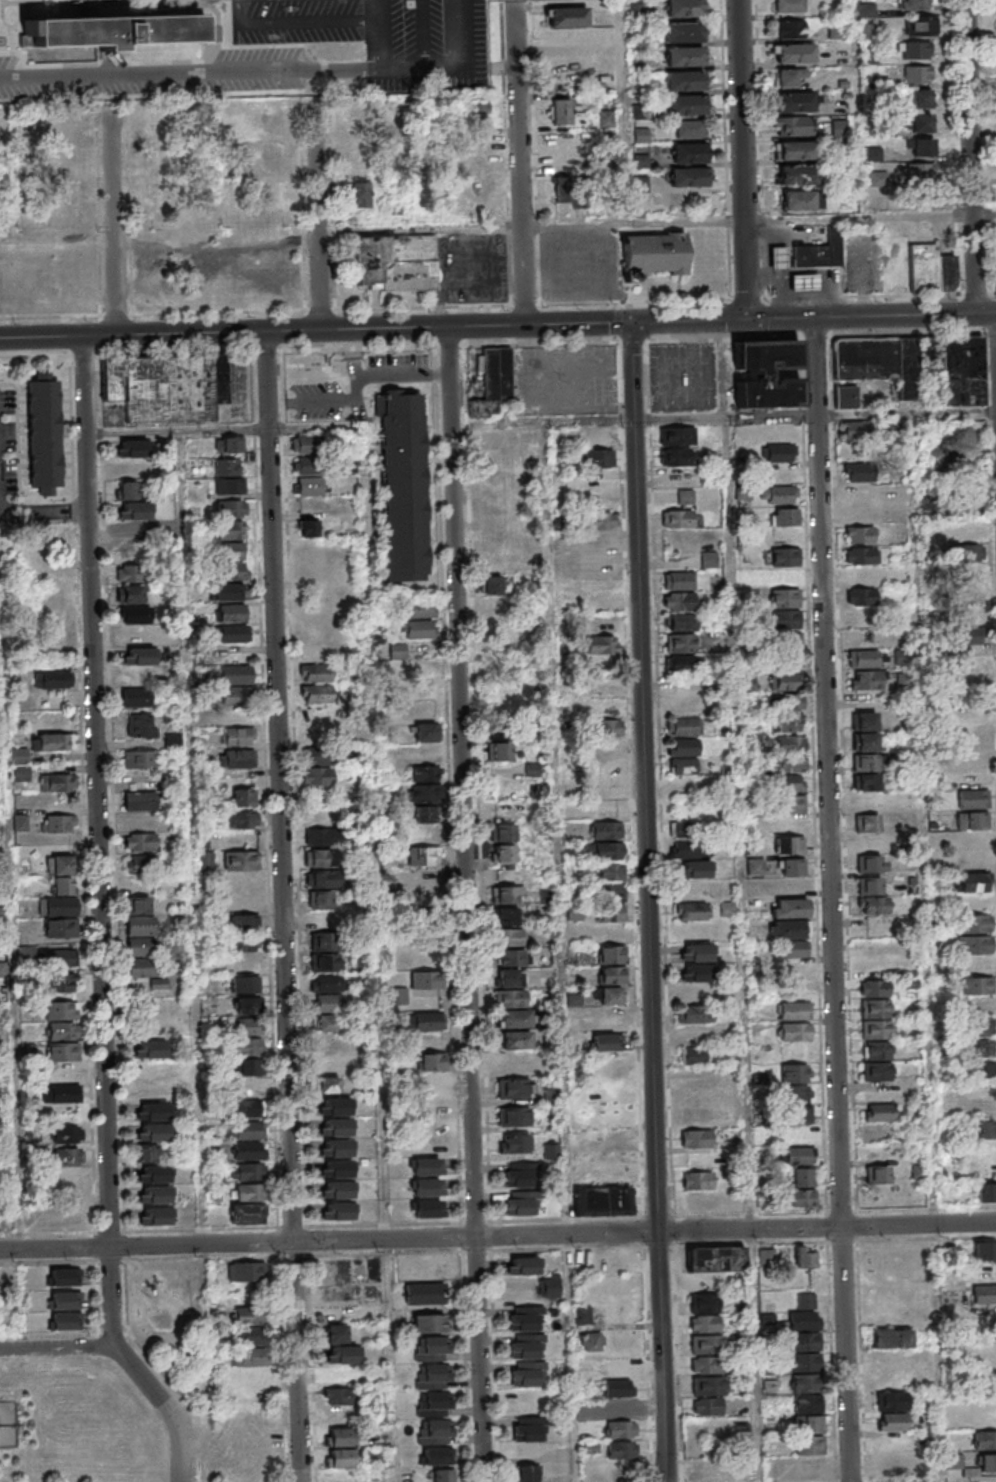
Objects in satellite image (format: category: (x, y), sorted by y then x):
road: (41, 1)
building: (916, 5)
road: (142, 6)
building: (789, 6)
building: (687, 8)
road: (84, 9)
building: (639, 9)
road: (28, 10)
building: (872, 10)
building: (567, 16)
road: (19, 18)
road: (8, 25)
road: (302, 25)
building: (924, 27)
building: (790, 29)
building: (114, 31)
building: (839, 31)
building: (871, 32)
road: (423, 33)
building: (687, 34)
road: (267, 45)
road: (205, 49)
road: (570, 50)
parking lot: (299, 51)
building: (920, 51)
building: (795, 53)
road: (20, 55)
building: (688, 59)
building: (873, 60)
road: (150, 61)
road: (420, 67)
road: (378, 68)
road: (184, 71)
building: (921, 75)
building: (789, 77)
building: (876, 82)
building: (688, 83)
building: (924, 100)
building: (795, 102)
building: (689, 107)
building: (845, 107)
building: (562, 111)
road: (625, 111)
building: (478, 113)
building: (607, 117)
building: (273, 118)
building: (359, 118)
building: (924, 124)
building: (793, 125)
building: (65, 127)
building: (696, 129)
building: (875, 130)
building: (843, 131)
building: (924, 148)
building: (563, 150)
building: (795, 150)
building: (478, 152)
road: (505, 152)
building: (877, 154)
building: (695, 155)
building: (273, 156)
road: (975, 156)
road: (747, 159)
road: (725, 160)
road: (521, 163)
building: (923, 172)
building: (799, 174)
building: (692, 179)
building: (882, 180)
building: (479, 190)
building: (568, 192)
building: (360, 194)
building: (274, 196)
building: (161, 198)
building: (800, 200)
building: (67, 204)
road: (316, 215)
road: (656, 222)
road: (113, 224)
building: (822, 253)
building: (657, 257)
building: (782, 260)
building: (395, 263)
parking lot: (583, 266)
building: (915, 266)
road: (587, 277)
road: (444, 283)
building: (807, 285)
road: (50, 315)
road: (873, 315)
traffic signals: (751, 319)
road: (693, 321)
traffic signals: (635, 323)
road: (317, 331)
road: (357, 354)
building: (889, 363)
building: (961, 370)
building: (766, 374)
road: (365, 377)
building: (496, 383)
building: (164, 388)
building: (846, 396)
road: (772, 418)
road: (502, 426)
building: (856, 430)
road: (226, 431)
building: (44, 433)
building: (677, 435)
building: (490, 441)
building: (229, 444)
building: (305, 444)
building: (132, 448)
building: (779, 452)
building: (677, 457)
building: (599, 458)
building: (306, 465)
building: (129, 469)
building: (858, 472)
building: (227, 475)
building: (494, 480)
building: (404, 484)
building: (307, 486)
building: (127, 490)
building: (779, 494)
building: (496, 502)
building: (972, 503)
building: (231, 508)
building: (134, 511)
building: (681, 511)
road: (23, 512)
building: (785, 516)
building: (601, 520)
building: (497, 523)
building: (309, 527)
building: (231, 530)
building: (134, 531)
building: (967, 531)
building: (860, 534)
building: (598, 541)
building: (494, 544)
building: (230, 551)
building: (132, 552)
building: (969, 552)
building: (784, 556)
building: (861, 556)
building: (708, 558)
building: (599, 562)
building: (233, 571)
building: (131, 573)
building: (768, 577)
building: (678, 580)
building: (972, 583)
building: (493, 585)
building: (225, 591)
building: (129, 594)
building: (54, 596)
building: (861, 596)
building: (785, 598)
building: (678, 601)
building: (604, 603)
building: (420, 608)
building: (231, 613)
building: (137, 615)
building: (863, 617)
building: (786, 619)
building: (680, 622)
building: (420, 629)
building: (232, 634)
building: (966, 634)
building: (56, 639)
building: (681, 642)
building: (600, 644)
building: (788, 649)
building: (397, 652)
building: (139, 656)
building: (905, 657)
building: (866, 658)
building: (680, 664)
building: (312, 674)
building: (236, 675)
building: (51, 680)
building: (788, 680)
building: (865, 680)
building: (605, 686)
building: (318, 695)
building: (234, 696)
building: (135, 698)
building: (790, 702)
building: (864, 721)
building: (790, 723)
building: (684, 725)
building: (140, 726)
building: (607, 727)
building: (500, 731)
building: (426, 732)
building: (238, 736)
building: (973, 740)
building: (51, 742)
building: (864, 742)
building: (791, 743)
building: (500, 753)
building: (318, 755)
building: (683, 755)
building: (236, 758)
building: (140, 759)
building: (973, 759)
building: (19, 765)
building: (788, 772)
building: (866, 772)
building: (424, 773)
road: (741, 775)
building: (317, 776)
building: (972, 779)
building: (58, 782)
building: (425, 793)
building: (243, 797)
building: (972, 799)
building: (139, 800)
building: (791, 804)
building: (424, 815)
building: (241, 819)
building: (972, 820)
building: (20, 822)
building: (58, 822)
building: (866, 822)
building: (319, 826)
building: (684, 828)
building: (605, 830)
building: (503, 832)
road: (193, 839)
building: (140, 841)
road: (96, 843)
building: (789, 844)
building: (686, 849)
building: (607, 850)
building: (972, 851)
building: (504, 853)
building: (423, 857)
building: (321, 858)
building: (872, 863)
building: (59, 864)
building: (755, 866)
building: (696, 869)
building: (608, 872)
building: (138, 873)
building: (791, 876)
building: (242, 879)
building: (321, 879)
road: (10, 880)
building: (973, 882)
building: (61, 885)
building: (508, 894)
building: (544, 896)
building: (320, 899)
road: (835, 899)
building: (609, 902)
road: (653, 902)
road: (470, 904)
building: (57, 906)
building: (138, 906)
road: (287, 906)
building: (789, 907)
building: (727, 908)
building: (693, 911)
building: (506, 916)
building: (425, 920)
building: (321, 921)
building: (244, 923)
building: (975, 923)
building: (140, 926)
building: (60, 928)
building: (787, 929)
building: (509, 936)
building: (324, 941)
building: (244, 943)
building: (975, 944)
building: (140, 948)
road: (928, 948)
building: (793, 949)
building: (696, 952)
road: (560, 953)
building: (513, 957)
building: (60, 958)
building: (424, 959)
building: (326, 961)
building: (245, 963)
building: (611, 964)
building: (2, 970)
building: (794, 970)
building: (696, 973)
building: (146, 974)
building: (509, 977)
building: (573, 978)
building: (425, 980)
building: (61, 983)
building: (328, 983)
building: (244, 984)
building: (977, 985)
building: (874, 988)
building: (691, 994)
building: (397, 995)
building: (609, 996)
building: (510, 998)
building: (326, 1002)
building: (245, 1005)
building: (61, 1010)
building: (795, 1010)
building: (694, 1014)
building: (876, 1019)
building: (428, 1021)
building: (326, 1023)
building: (247, 1026)
building: (983, 1027)
building: (795, 1031)
building: (515, 1040)
building: (63, 1041)
building: (607, 1042)
road: (381, 1044)
building: (246, 1046)
building: (326, 1046)
building: (981, 1047)
building: (150, 1050)
building: (877, 1050)
building: (706, 1055)
building: (431, 1061)
building: (249, 1066)
building: (983, 1069)
building: (877, 1071)
building: (63, 1072)
building: (432, 1083)
building: (327, 1084)
building: (250, 1088)
building: (515, 1088)
building: (146, 1090)
building: (796, 1093)
building: (63, 1094)
building: (335, 1106)
building: (248, 1109)
building: (151, 1111)
building: (879, 1112)
building: (513, 1116)
building: (695, 1117)
building: (336, 1127)
building: (985, 1129)
building: (249, 1130)
building: (152, 1132)
building: (881, 1133)
building: (67, 1134)
building: (697, 1138)
building: (515, 1143)
building: (798, 1145)
building: (336, 1148)
building: (249, 1150)
building: (550, 1151)
building: (147, 1153)
building: (68, 1156)
building: (427, 1166)
building: (336, 1169)
building: (248, 1171)
building: (918, 1172)
building: (153, 1173)
building: (520, 1174)
building: (878, 1174)
building: (802, 1177)
building: (697, 1180)
building: (427, 1187)
building: (337, 1189)
building: (985, 1191)
building: (250, 1192)
building: (154, 1194)
building: (802, 1198)
building: (602, 1201)
building: (522, 1203)
building: (428, 1208)
building: (338, 1211)
building: (246, 1213)
building: (155, 1215)
road: (292, 1226)
road: (200, 1228)
road: (109, 1231)
road: (47, 1232)
road: (497, 1236)
building: (984, 1250)
building: (804, 1256)
building: (766, 1257)
building: (715, 1259)
road: (48, 1262)
building: (522, 1265)
building: (246, 1271)
building: (61, 1277)
building: (983, 1283)
building: (549, 1286)
building: (425, 1294)
building: (62, 1300)
building: (703, 1302)
building: (583, 1314)
building: (246, 1315)
park: (171, 1317)
building: (524, 1318)
building: (63, 1320)
building: (704, 1323)
building: (429, 1324)
building: (336, 1334)
building: (252, 1336)
building: (889, 1338)
building: (592, 1340)
building: (705, 1344)
building: (527, 1345)
building: (431, 1351)
road: (55, 1352)
building: (342, 1355)
road: (757, 1356)
building: (249, 1357)
building: (889, 1359)
building: (705, 1365)
building: (619, 1366)
building: (526, 1373)
building: (336, 1376)
building: (432, 1376)
building: (805, 1377)
building: (890, 1380)
building: (708, 1385)
building: (618, 1388)
building: (337, 1396)
building: (524, 1399)
building: (890, 1401)
building: (433, 1404)
building: (711, 1406)
road: (162, 1408)
building: (618, 1409)
building: (890, 1422)
building: (527, 1429)
building: (620, 1429)
building: (739, 1430)
building: (433, 1431)
building: (341, 1437)
building: (983, 1439)
building: (620, 1449)
building: (435, 1456)
building: (341, 1458)
building: (371, 1459)
building: (952, 1461)
building: (986, 1463)
building: (708, 1468)
building: (526, 1473)
building: (441, 1475)
building: (404, 1476)
road: (877, 1479)

